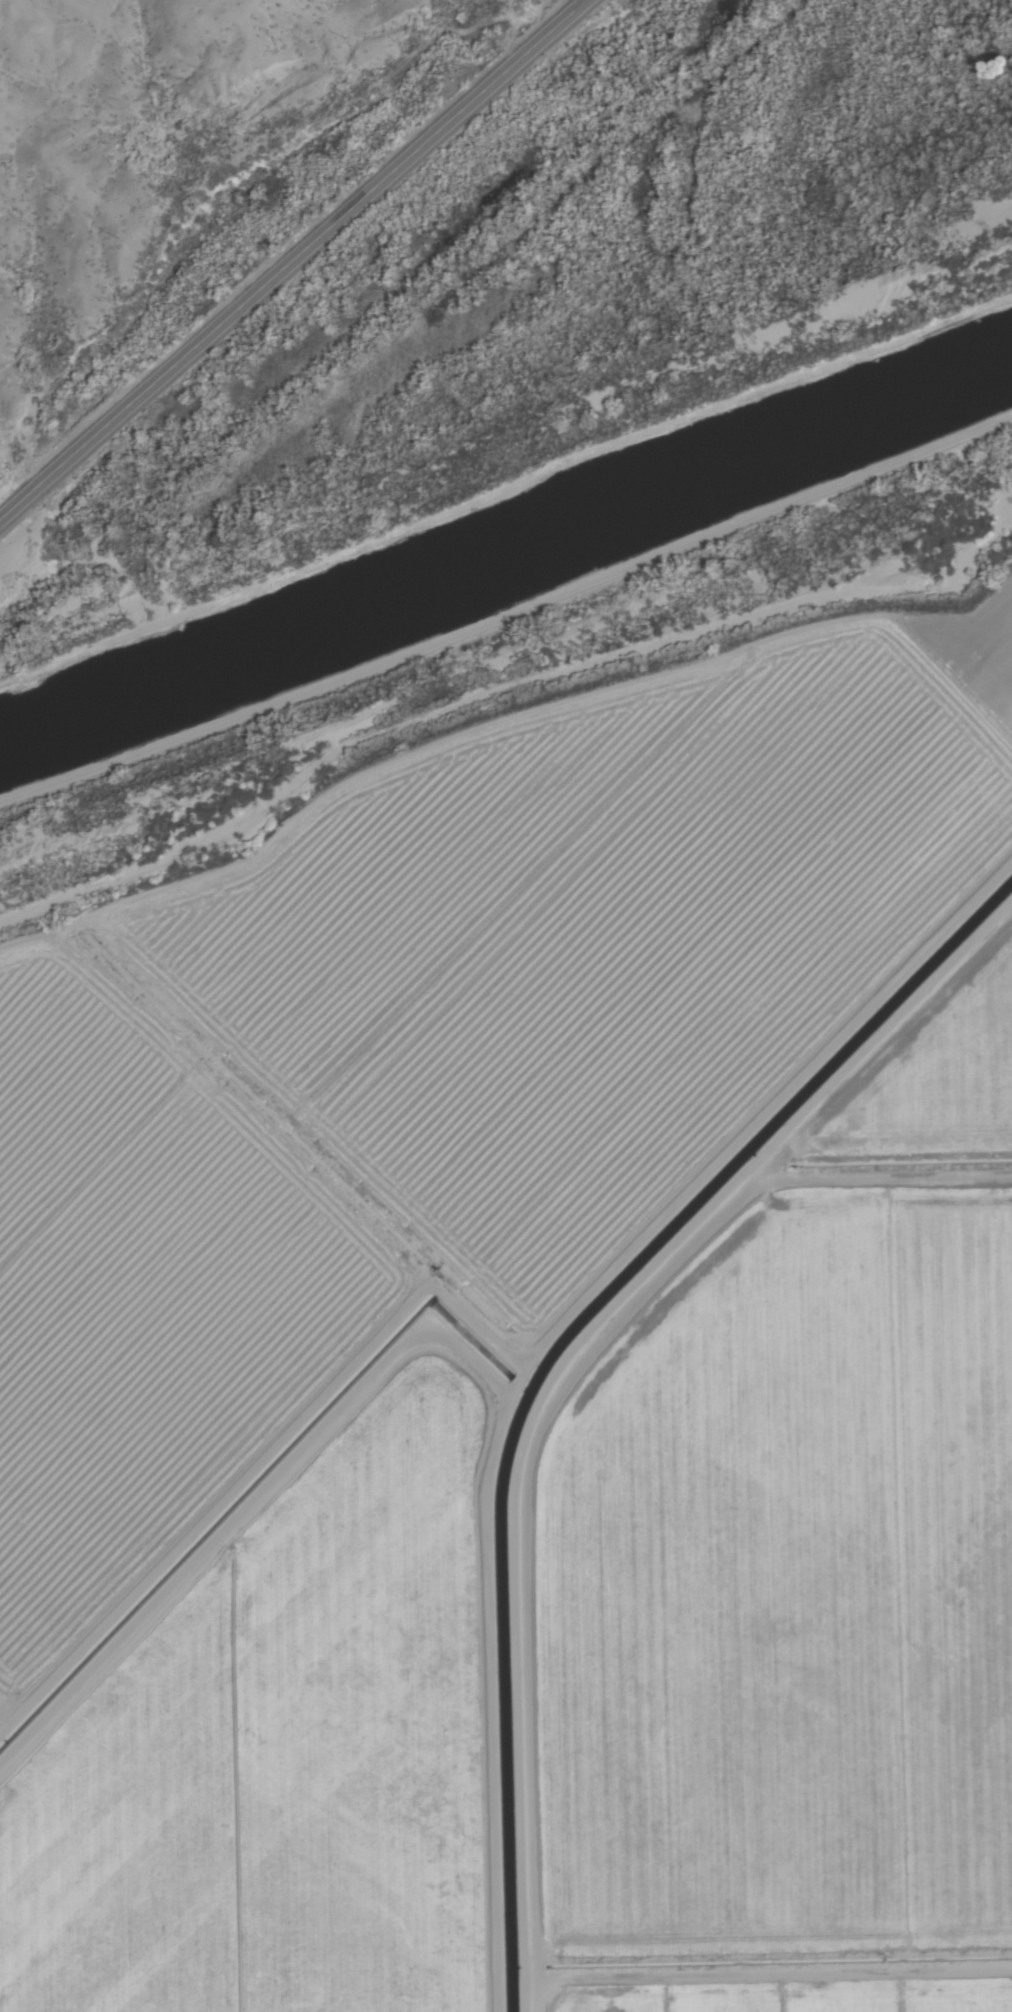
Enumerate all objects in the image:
road: (295, 261)
crop: (947, 1076)

